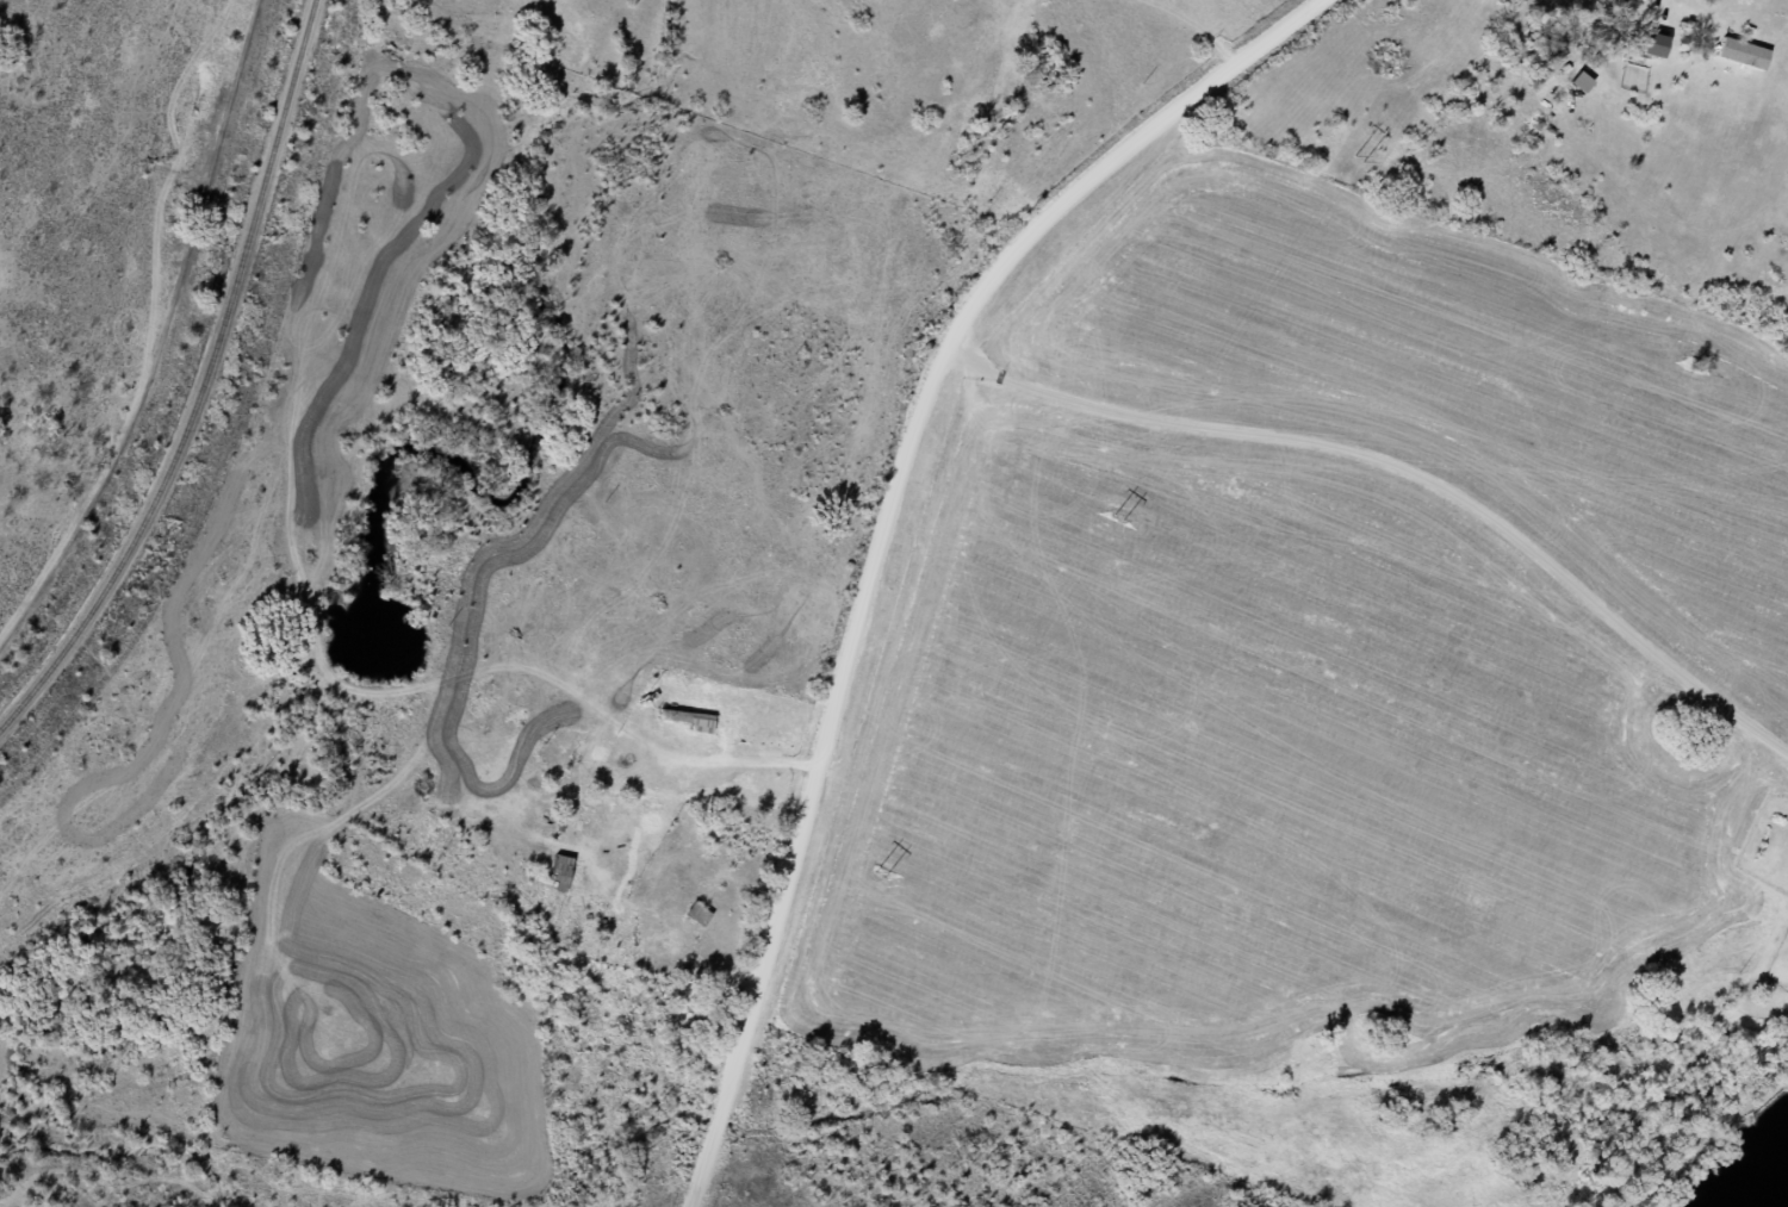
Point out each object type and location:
road: (1666, 0)
building: (1644, 41)
building: (1737, 52)
building: (1576, 82)
power tower: (1355, 156)
railway: (199, 381)
road: (1408, 466)
power tower: (1117, 515)
road: (889, 528)
building: (555, 872)
power tower: (879, 872)
building: (694, 913)
road: (1331, 1186)

